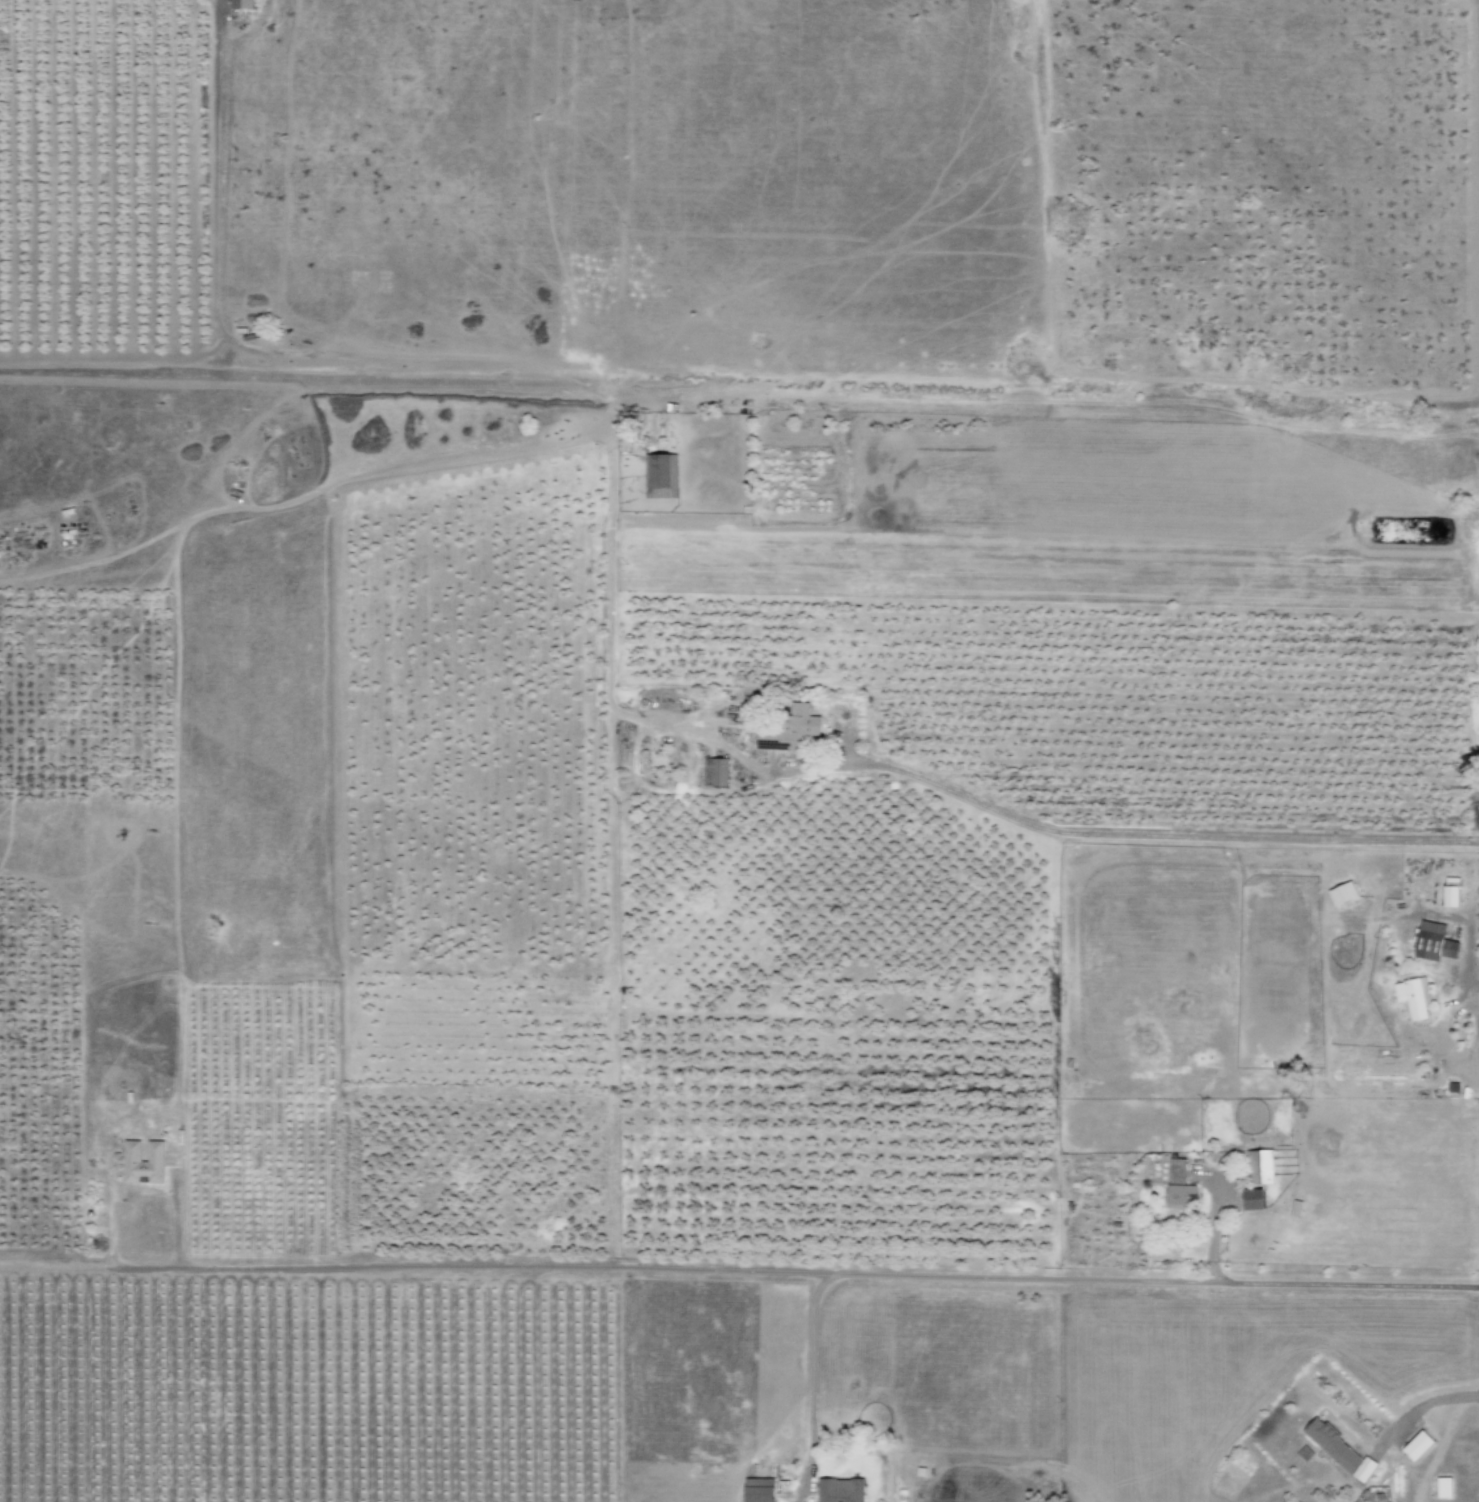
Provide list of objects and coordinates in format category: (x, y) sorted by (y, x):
building: (240, 4)
building: (659, 476)
road: (610, 546)
road: (637, 745)
building: (714, 773)
road: (1120, 835)
building: (1450, 893)
building: (1433, 943)
road: (482, 969)
building: (1412, 998)
road: (612, 1036)
building: (141, 1161)
building: (1259, 1167)
building: (1177, 1185)
building: (1252, 1199)
road: (178, 1270)
road: (910, 1275)
road: (812, 1377)
road: (1415, 1406)
building: (1339, 1451)
building: (1443, 1487)
building: (758, 1490)
building: (839, 1490)
building: (1380, 1497)

